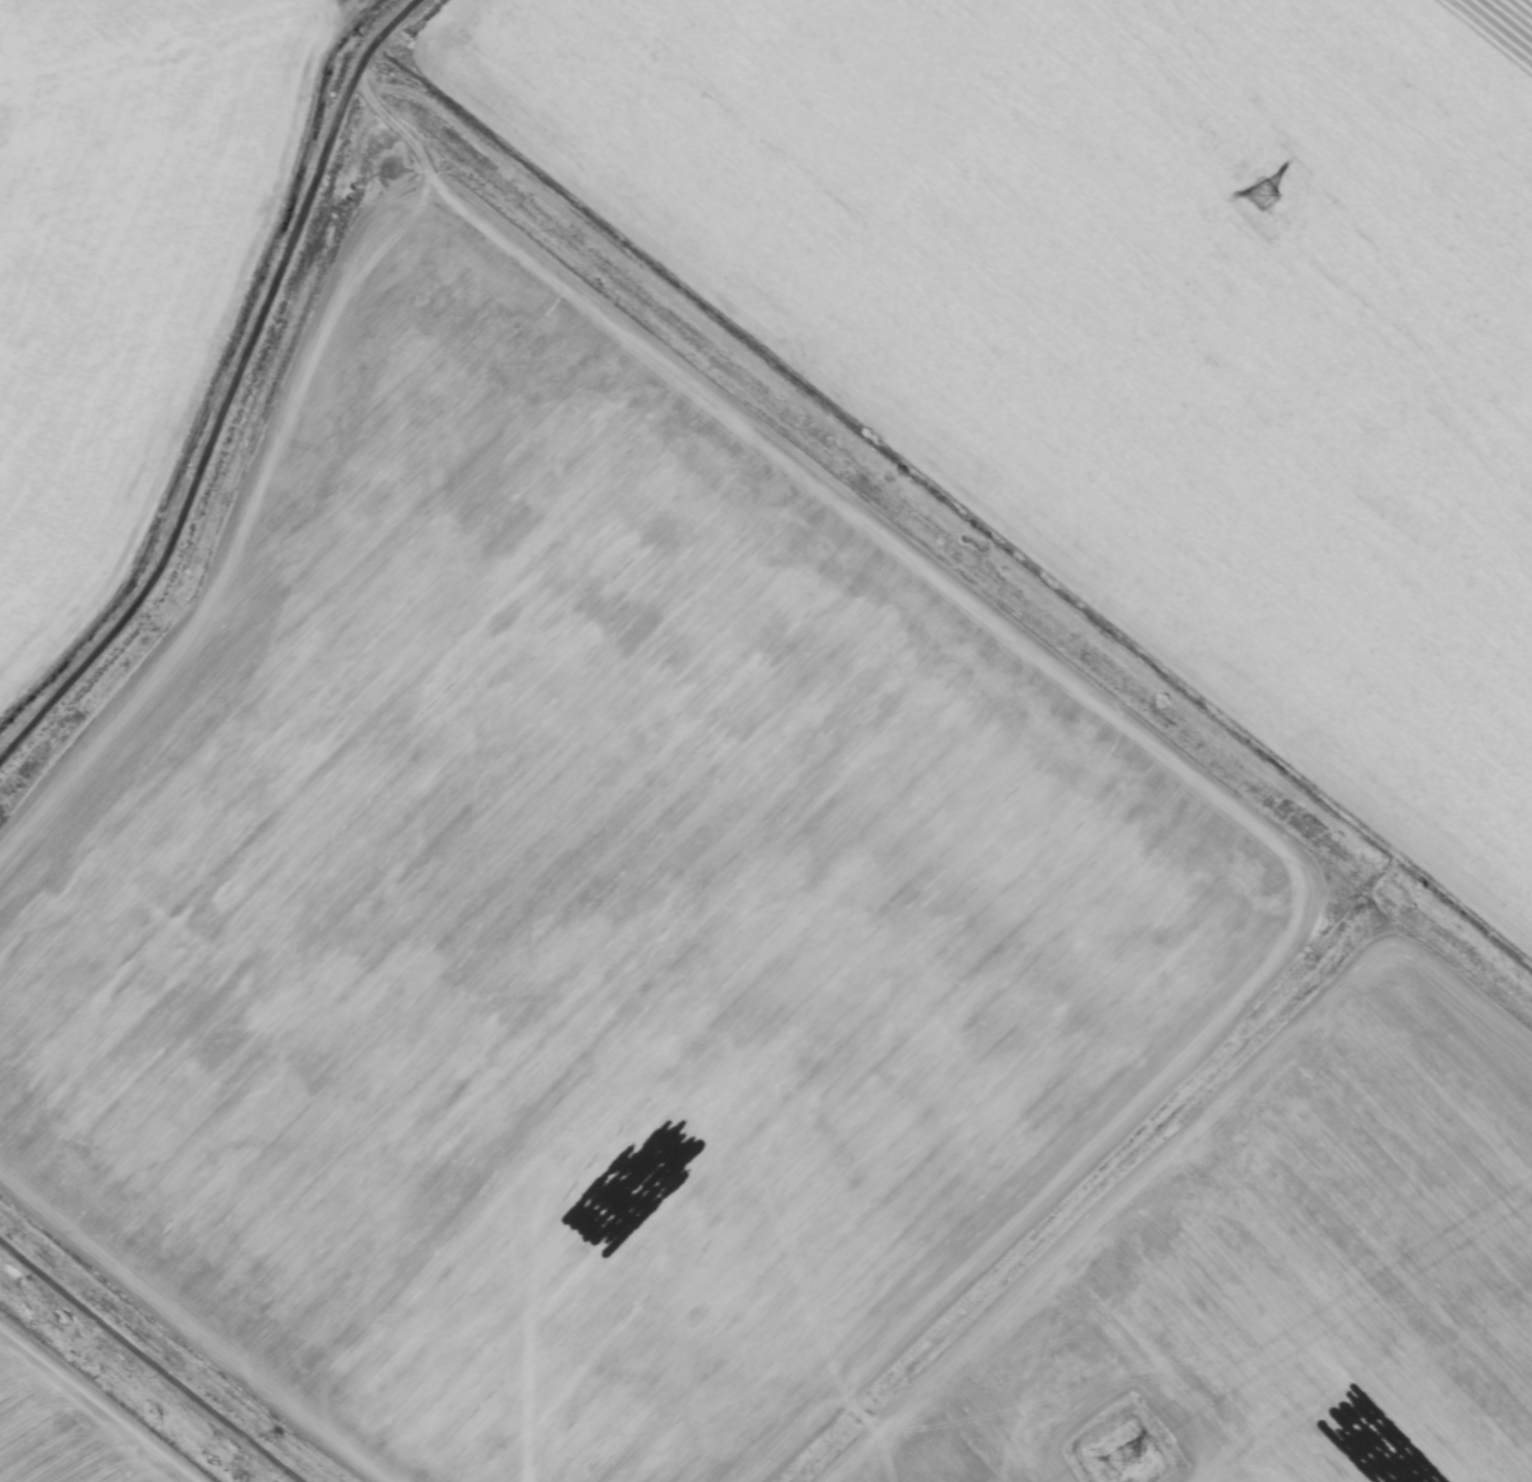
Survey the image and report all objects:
power tower: (1262, 193)
road: (236, 396)
road: (151, 1360)
power tower: (1123, 1458)

